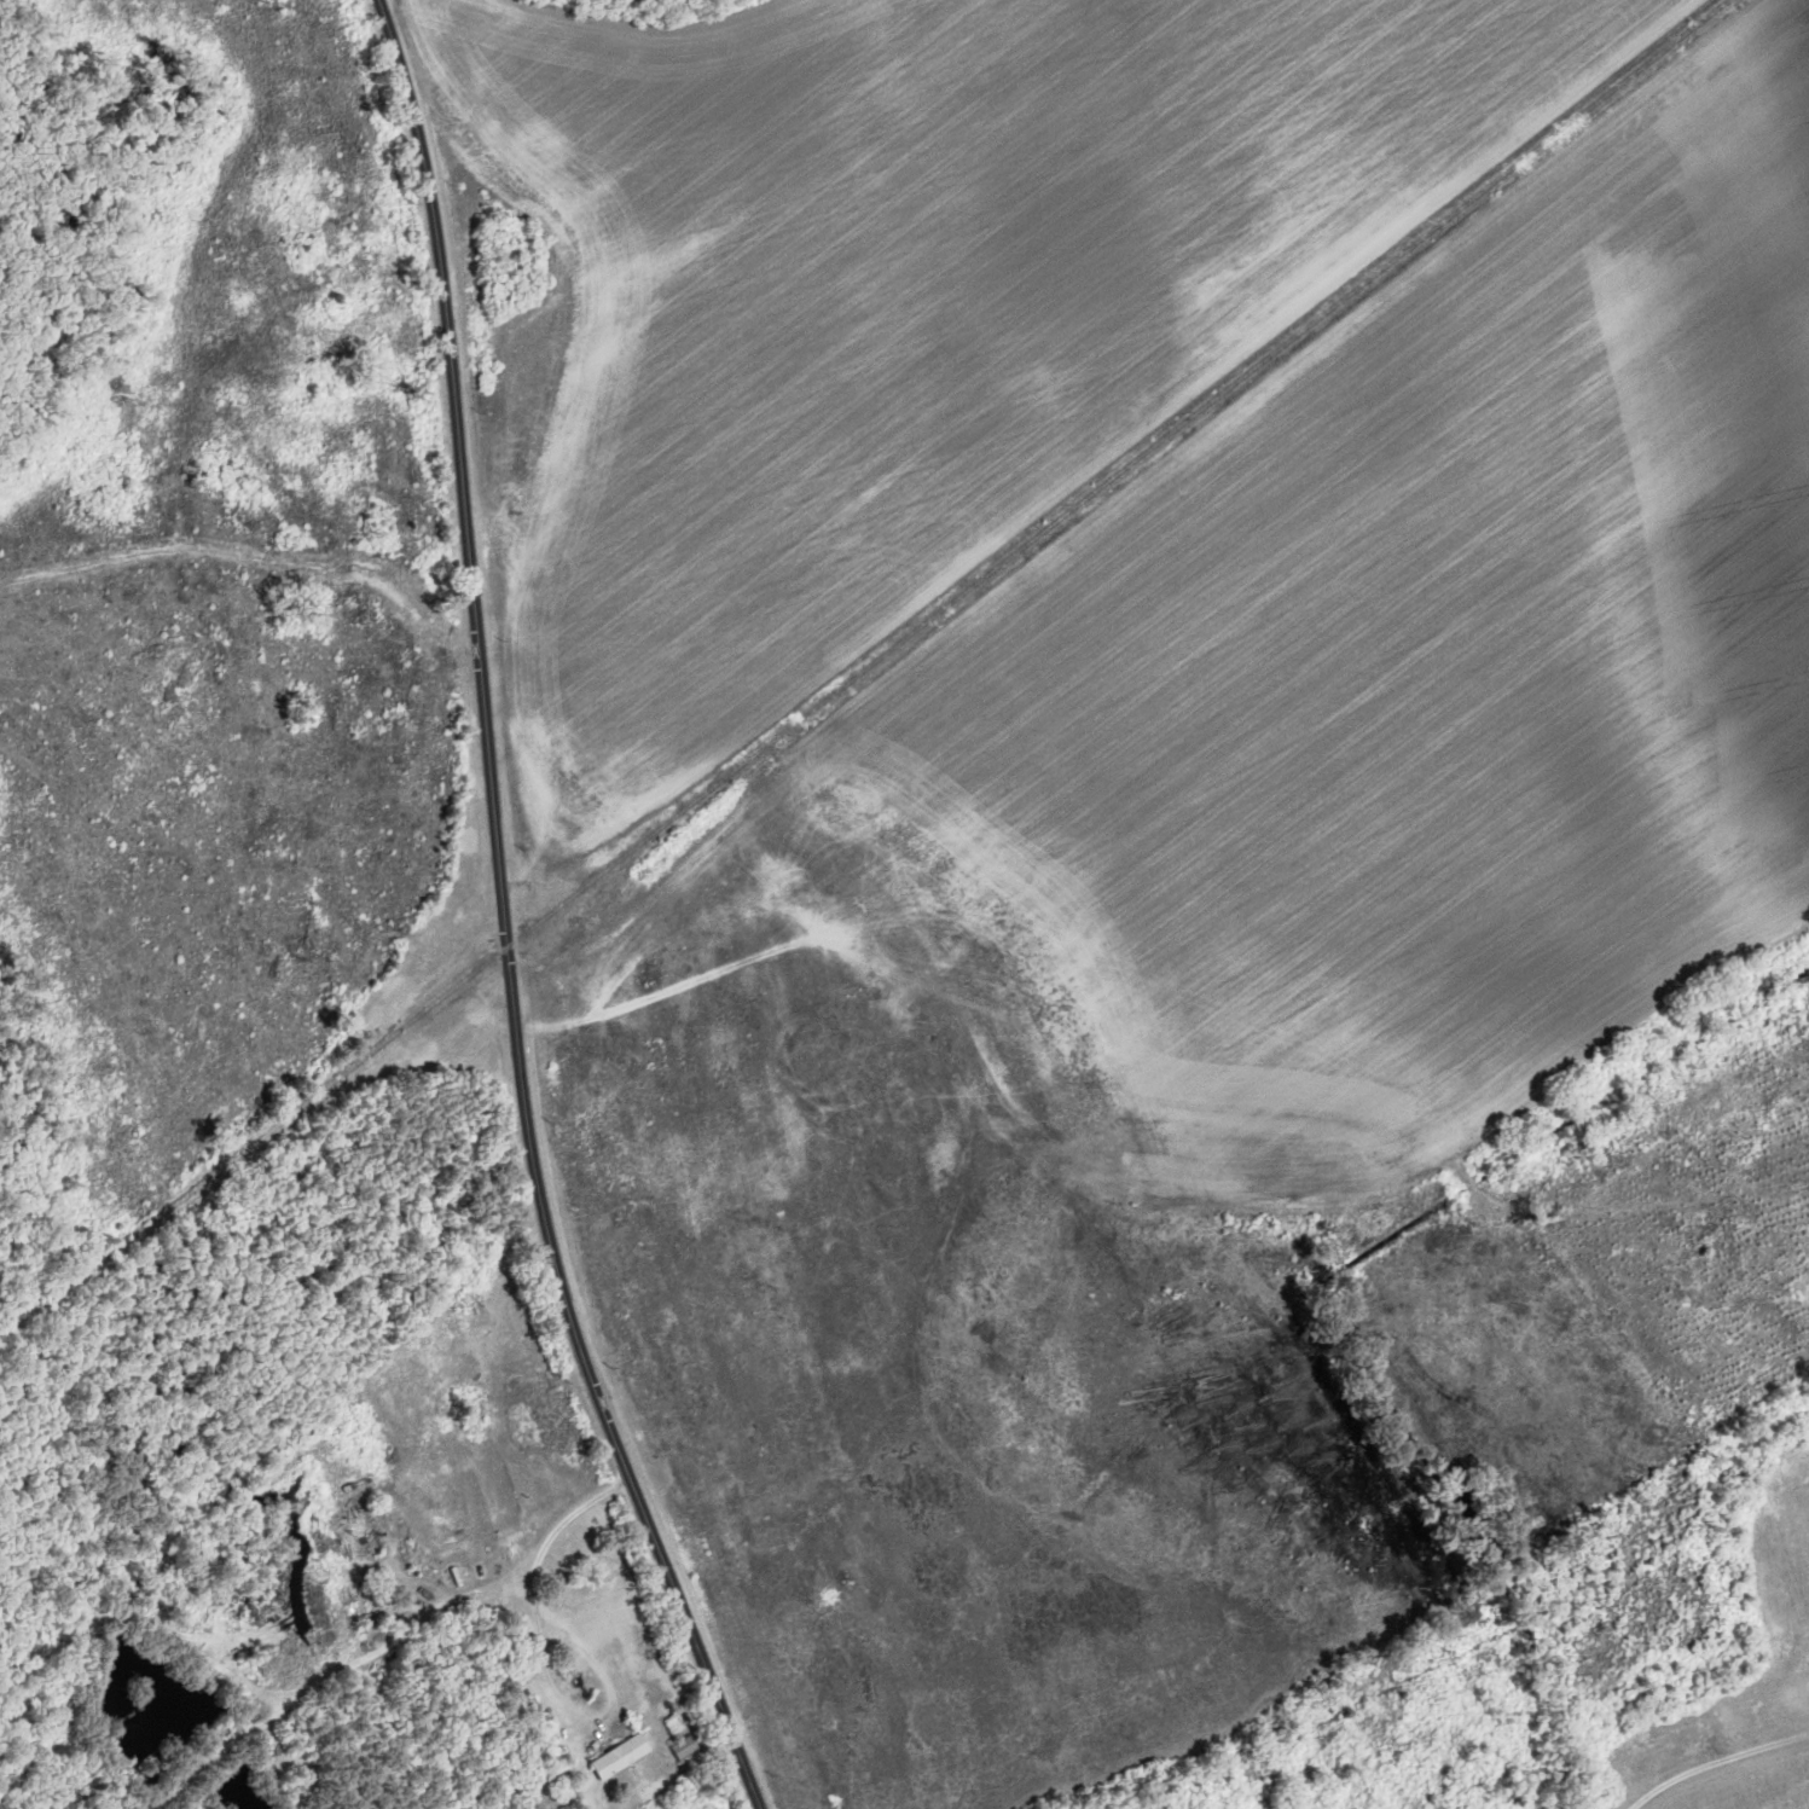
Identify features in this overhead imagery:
railway: (865, 673)
road: (506, 920)
road: (544, 1668)
building: (692, 1750)
building: (630, 1757)
road: (1714, 1759)

